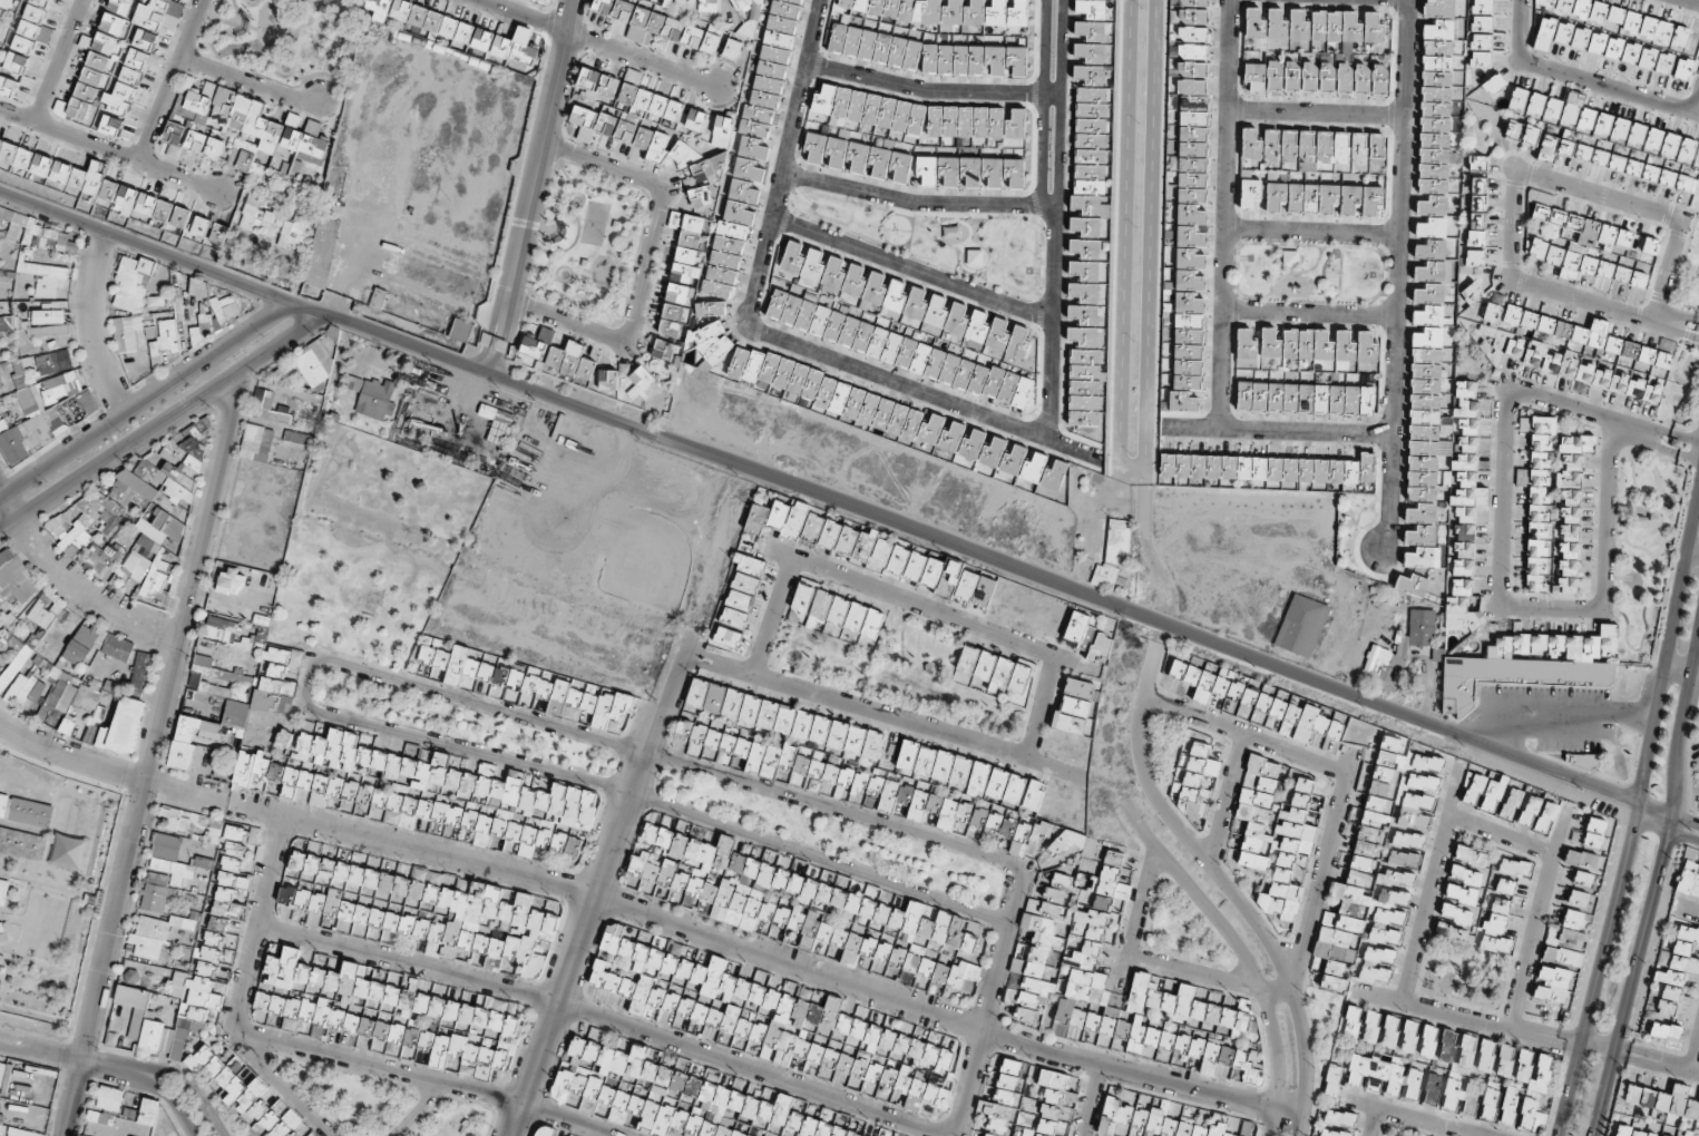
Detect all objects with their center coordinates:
park: (1689, 261)
park: (1309, 267)
park: (1643, 547)
park: (897, 672)
parking lot: (1544, 716)
park: (1695, 758)
park: (1463, 973)
park: (1405, 1129)

